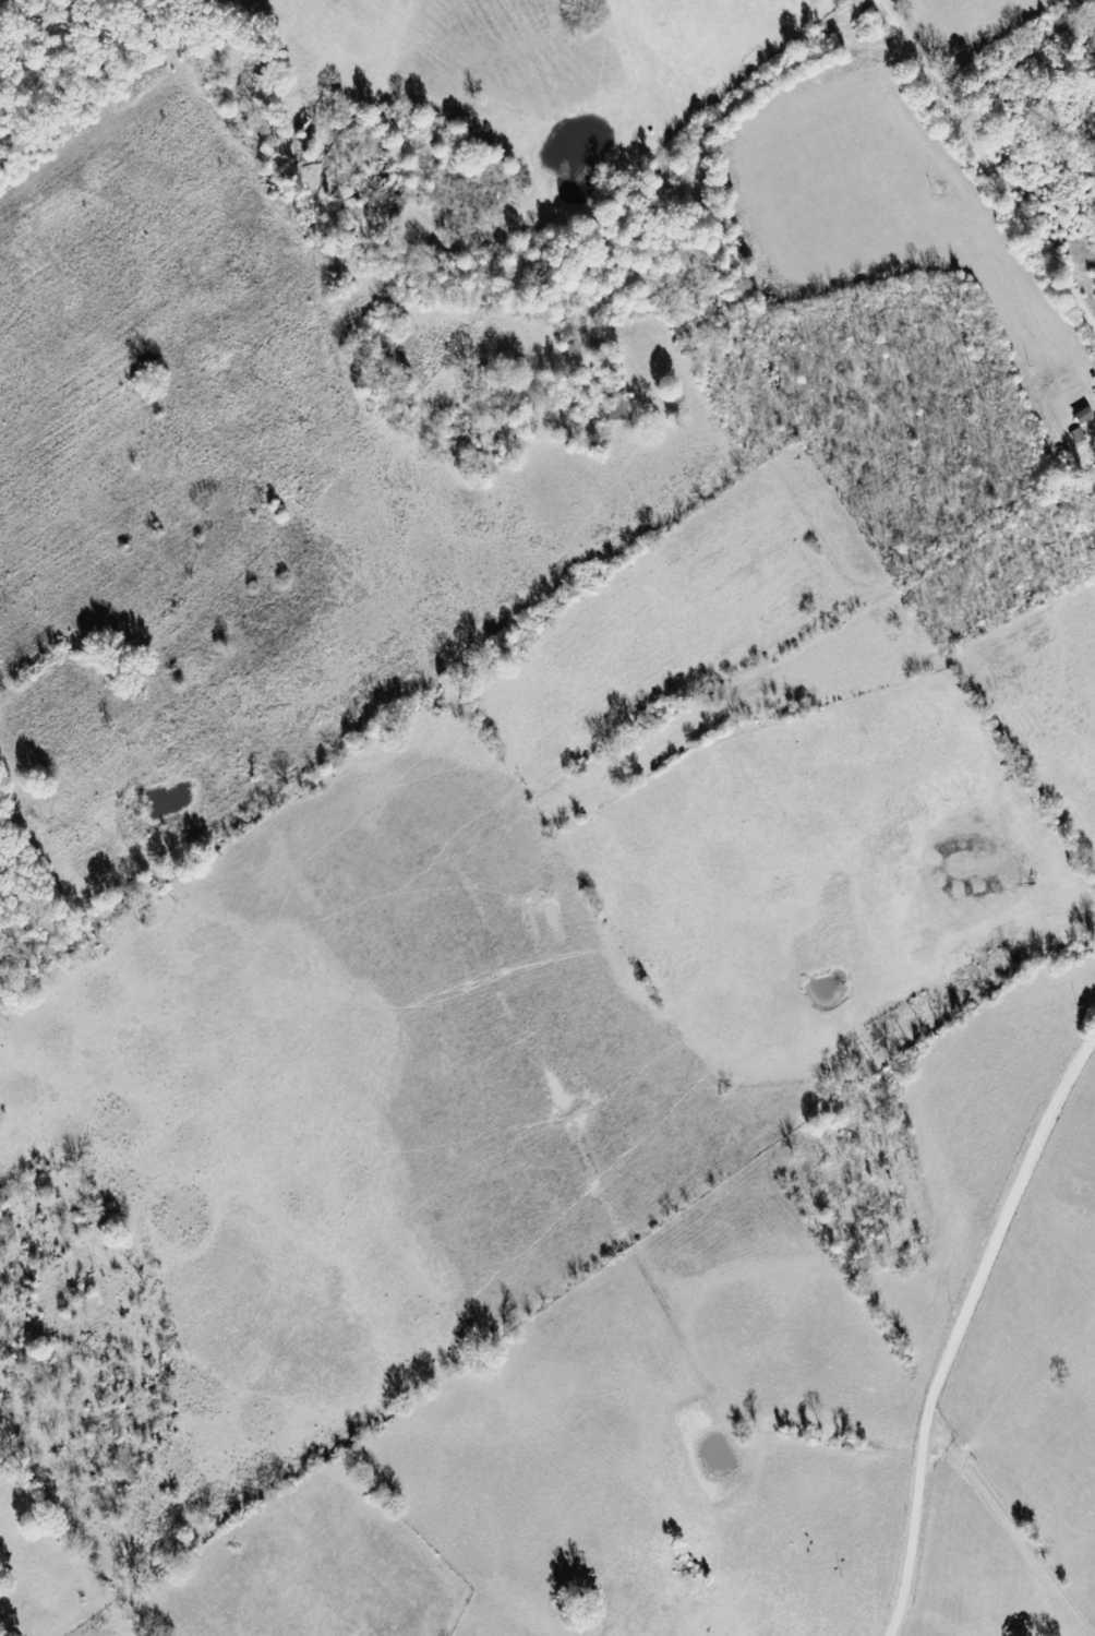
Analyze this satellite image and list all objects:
road: (691, 154)
road: (973, 193)
road: (1049, 1242)
road: (943, 1325)

